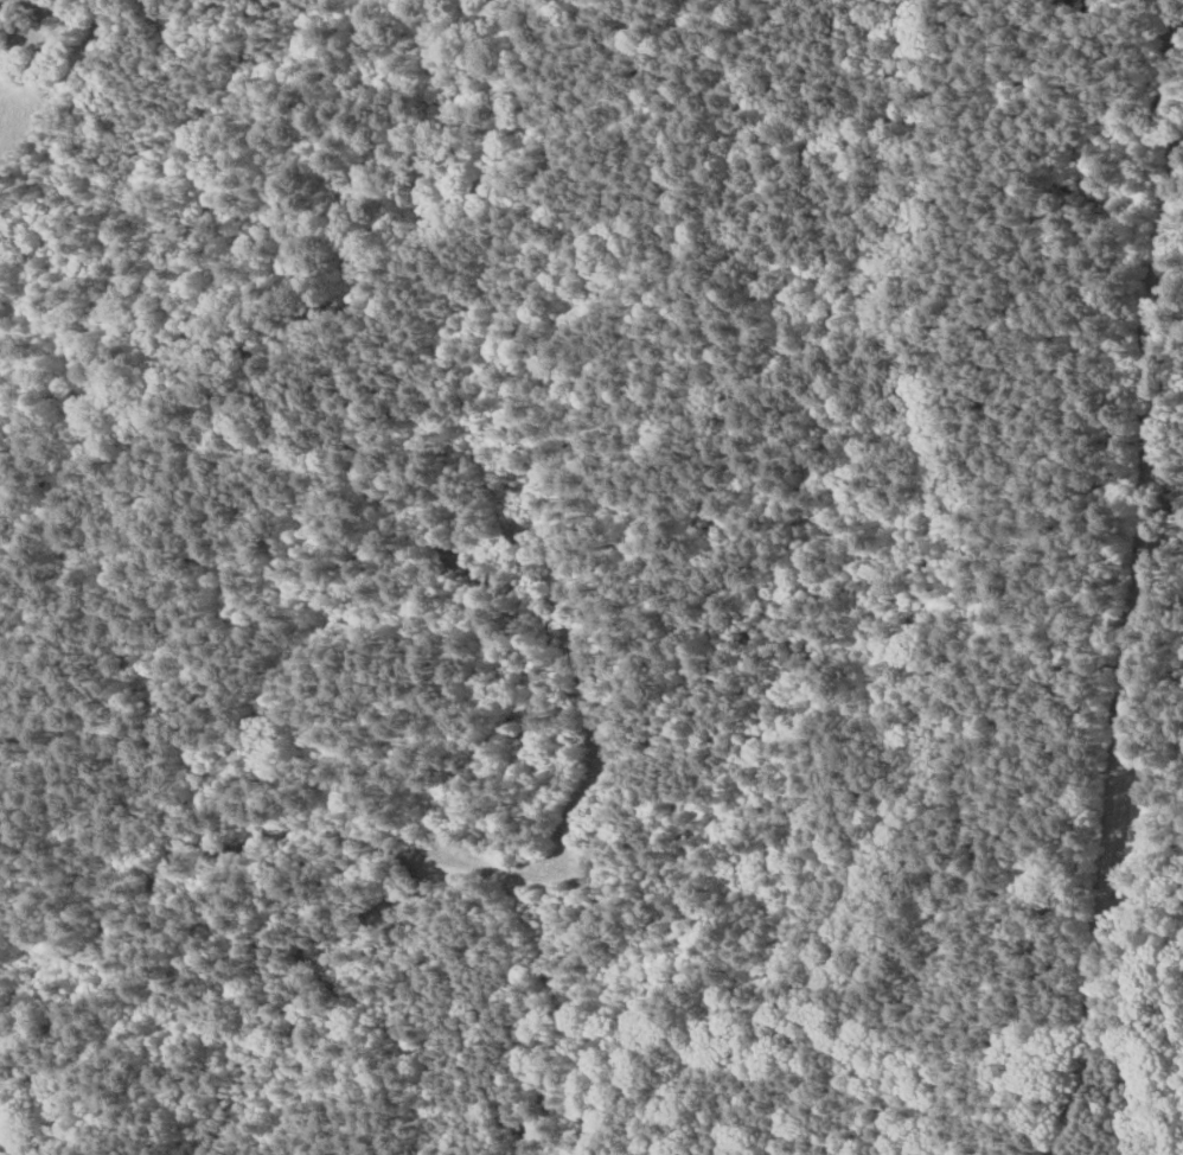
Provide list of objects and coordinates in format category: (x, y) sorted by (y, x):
road: (872, 63)
road: (919, 98)
road: (1174, 120)
road: (365, 296)
road: (351, 486)
road: (738, 589)
road: (1128, 670)

